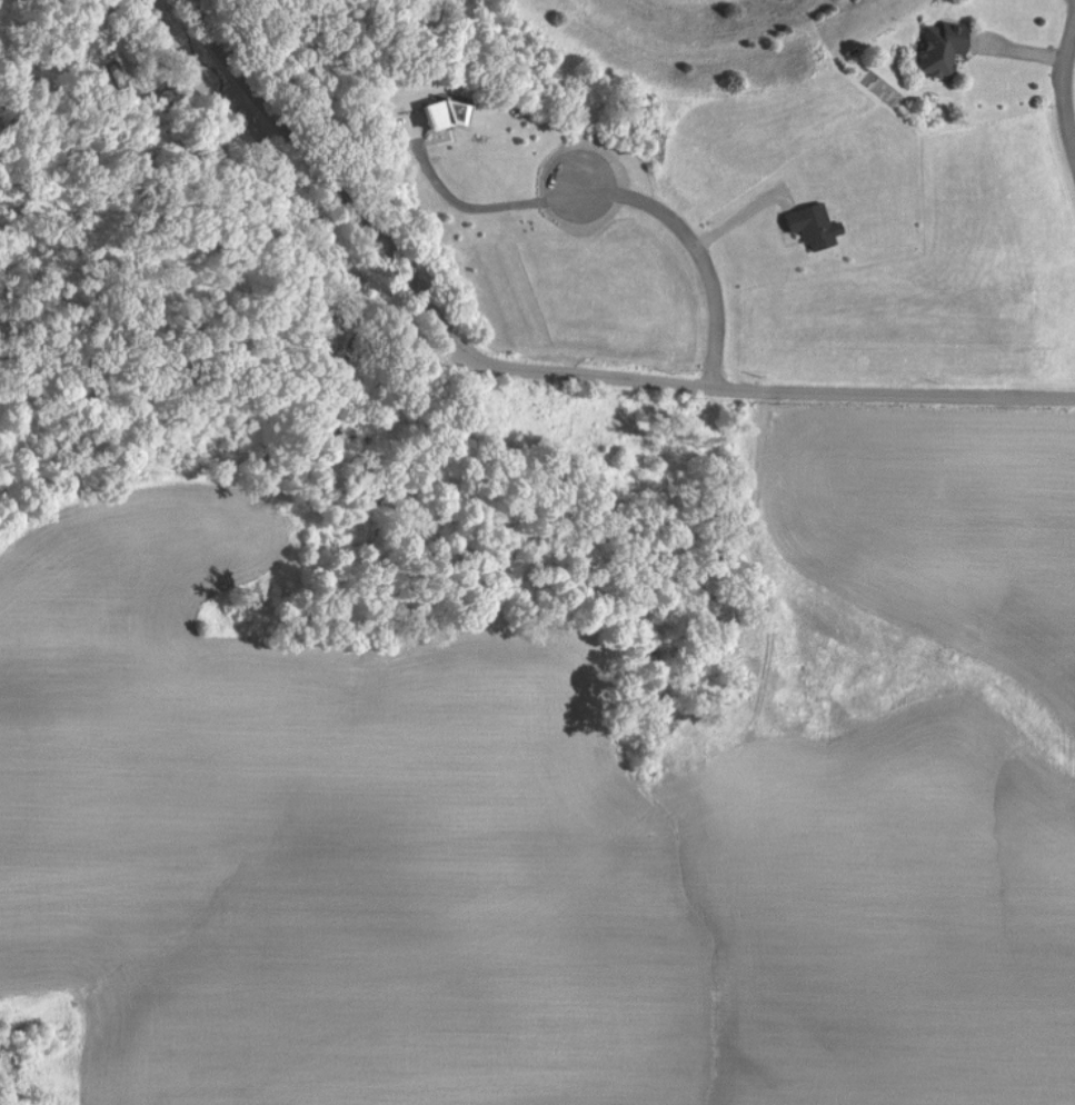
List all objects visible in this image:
building: (948, 48)
road: (1061, 92)
building: (450, 115)
building: (818, 226)
road: (384, 239)
road: (700, 256)
road: (849, 406)

